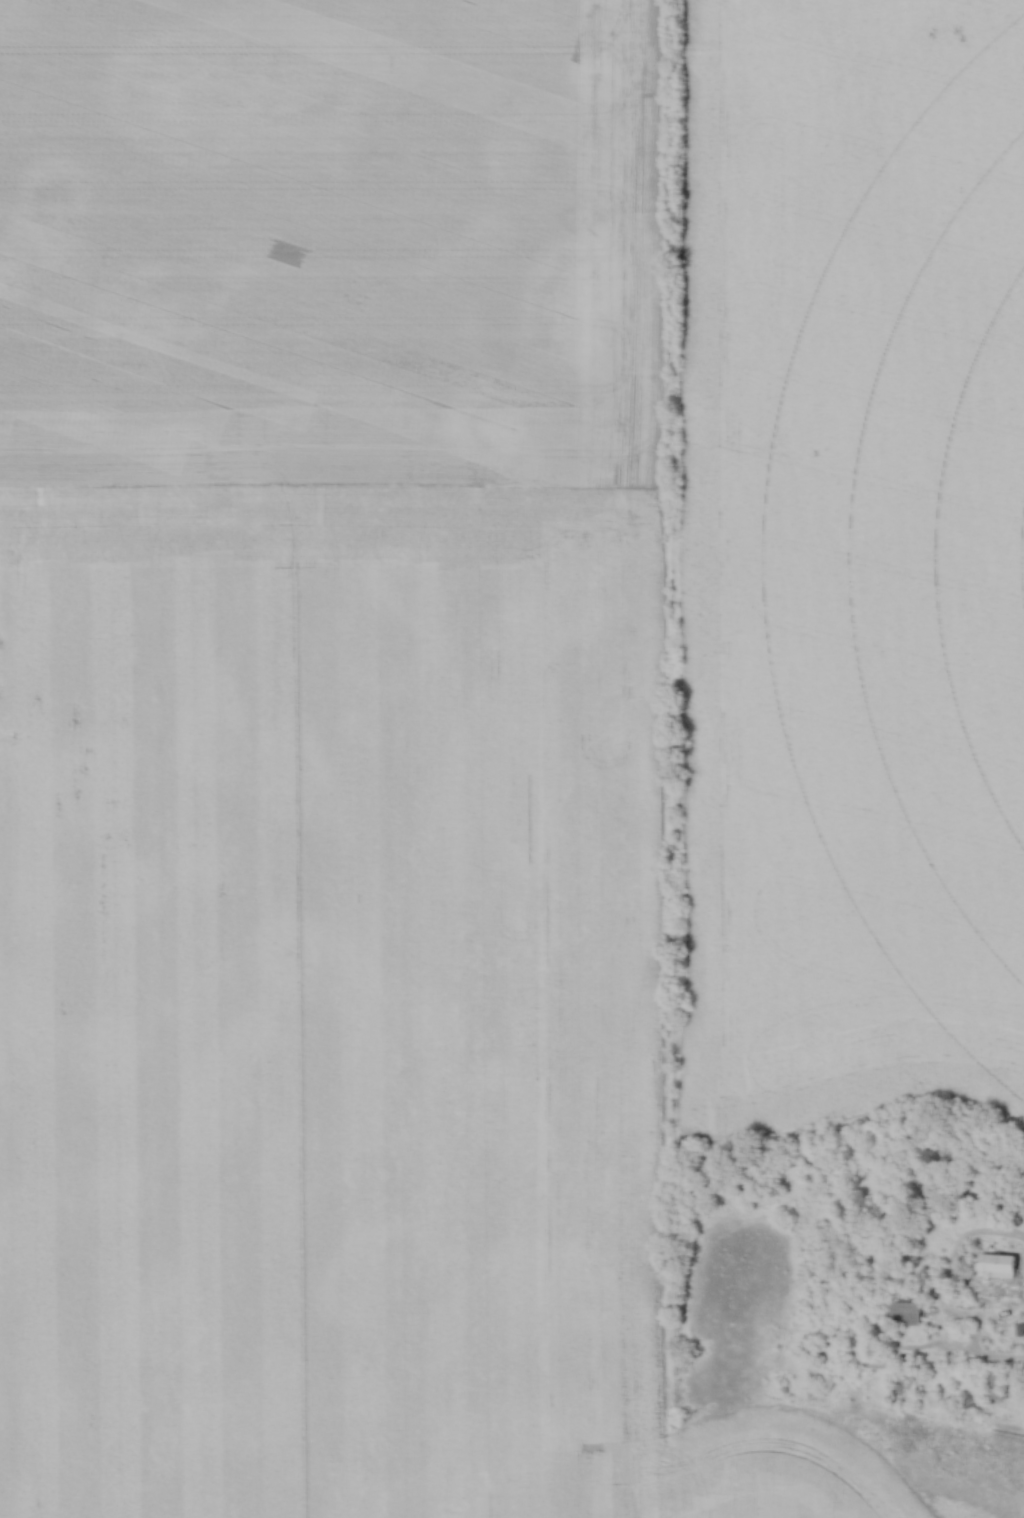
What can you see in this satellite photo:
building: (997, 1266)
building: (902, 1310)
building: (995, 1384)

